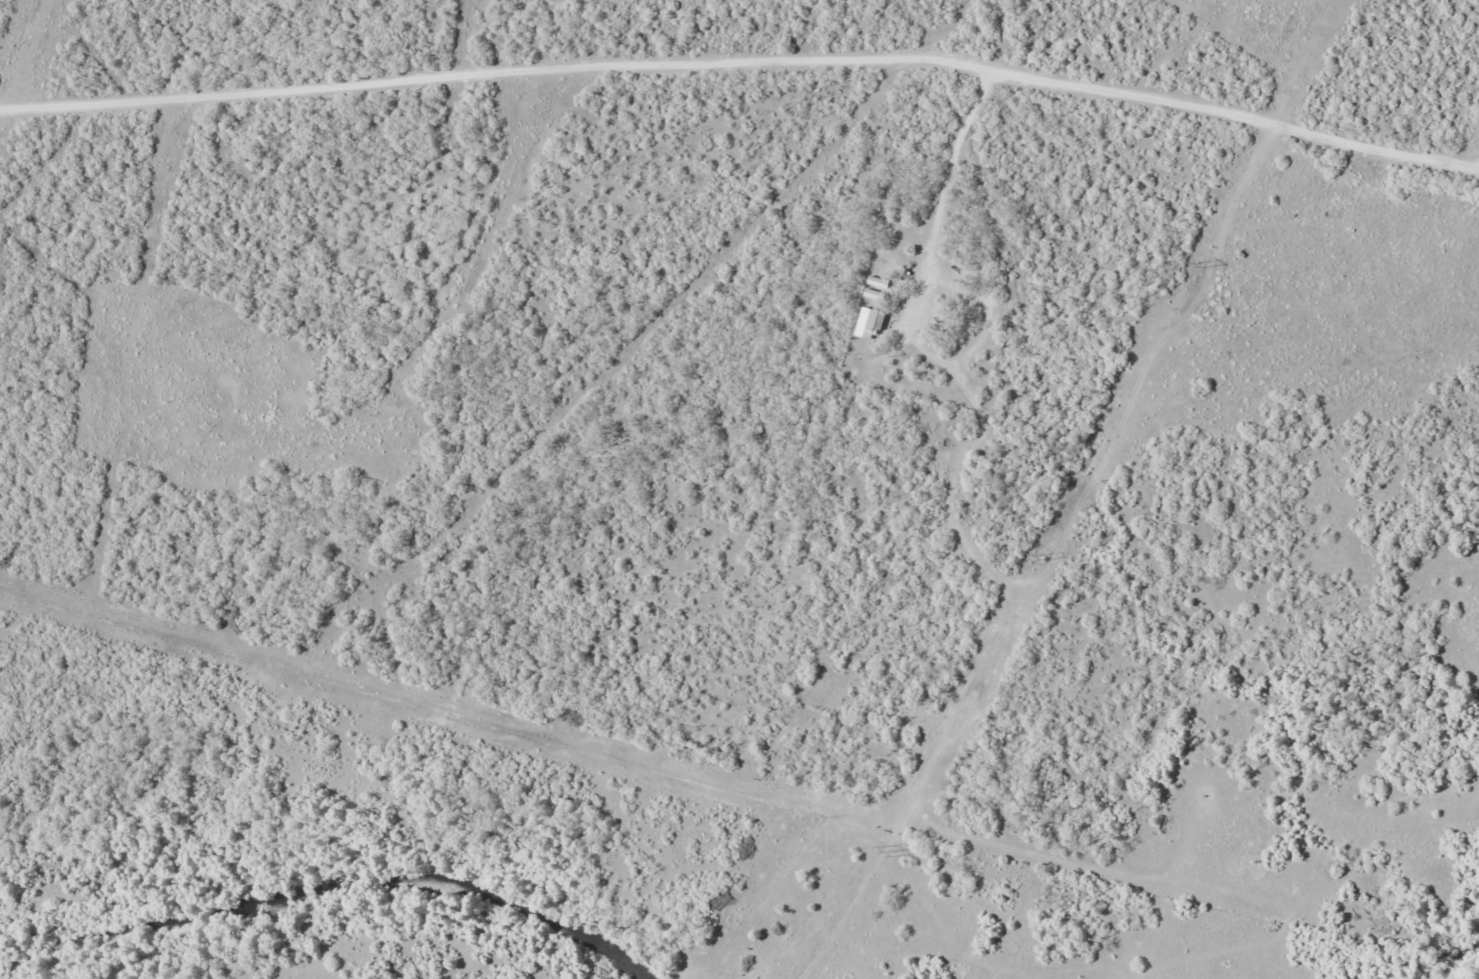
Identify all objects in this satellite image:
road: (52, 61)
road: (743, 89)
power tower: (1199, 265)
building: (866, 323)
power tower: (1042, 557)
power tower: (890, 851)

